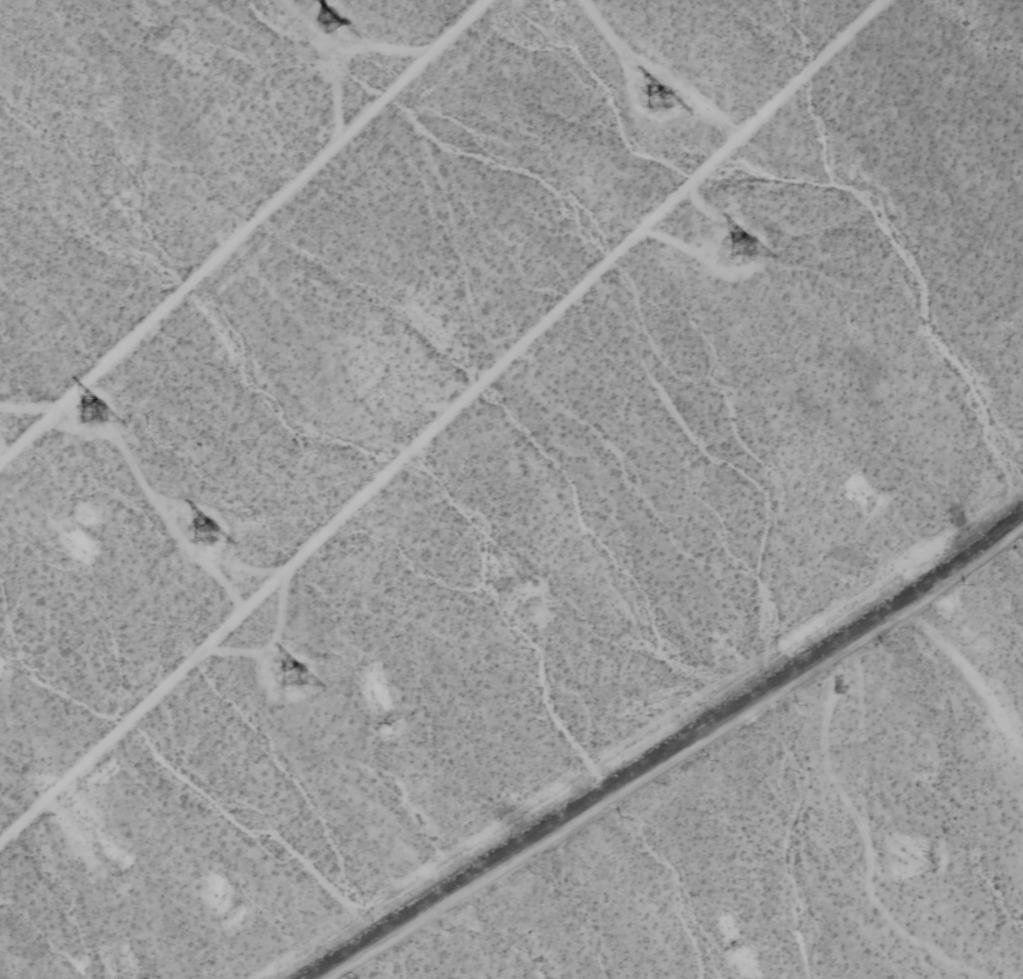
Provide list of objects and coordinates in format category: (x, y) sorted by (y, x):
power tower: (329, 23)
power tower: (657, 100)
road: (244, 232)
power tower: (742, 250)
power tower: (87, 411)
road: (441, 421)
power tower: (205, 532)
power tower: (288, 678)
railway: (664, 747)
road: (678, 756)

